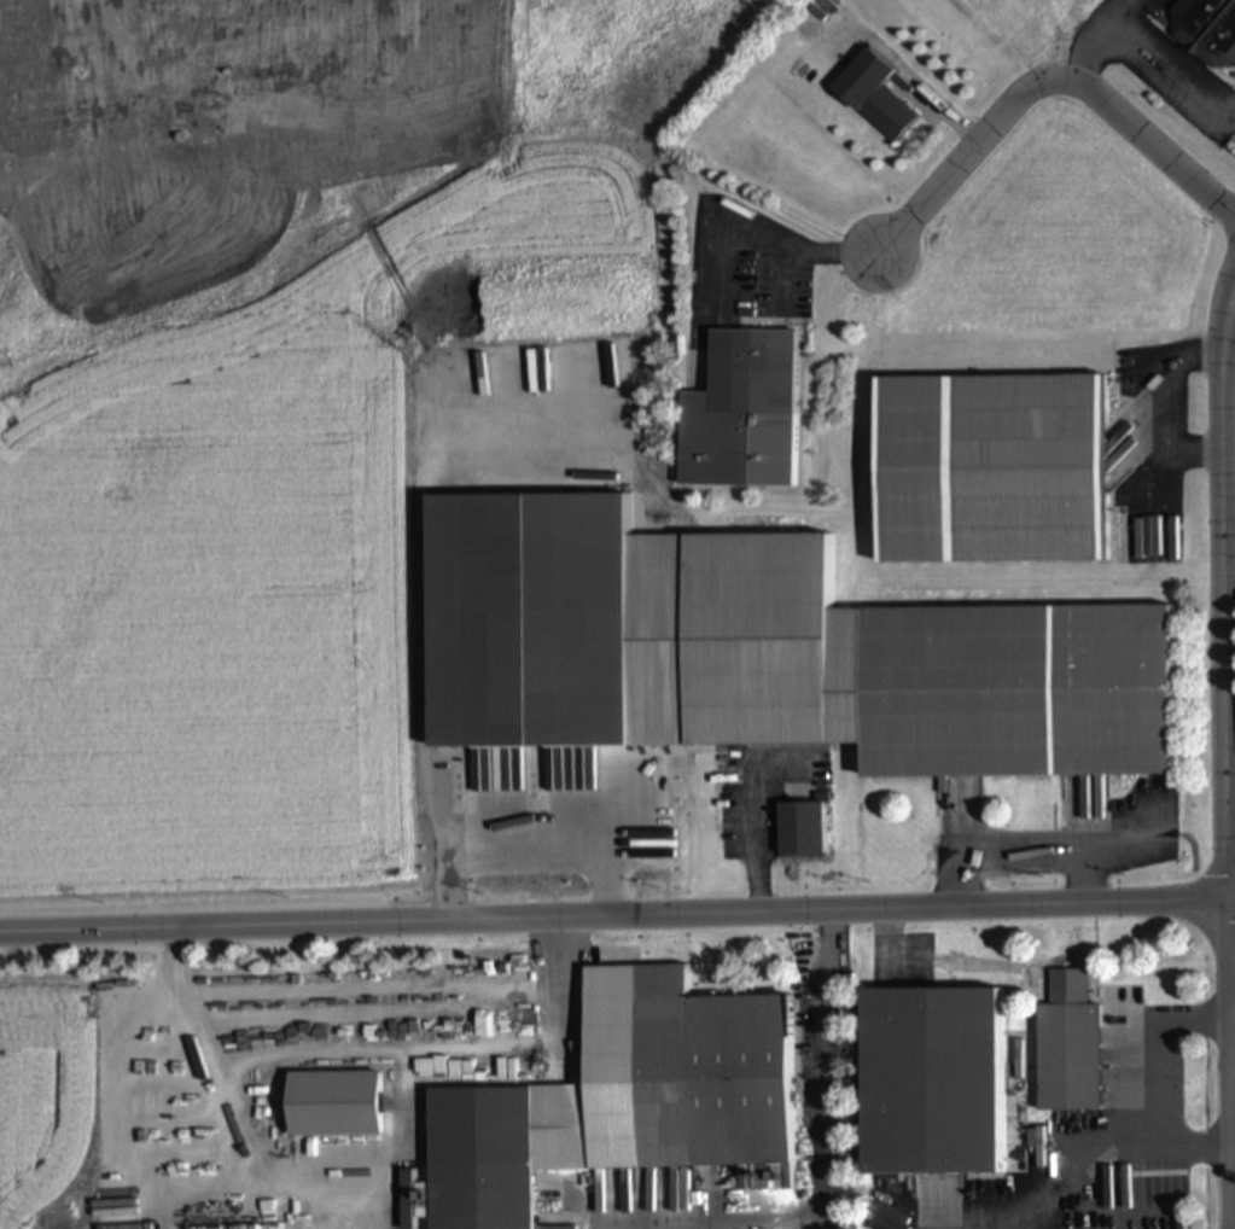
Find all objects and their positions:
building: (1206, 30)
road: (1105, 42)
road: (1049, 83)
building: (873, 94)
road: (796, 249)
building: (752, 373)
road: (1153, 401)
building: (991, 474)
road: (1230, 614)
building: (1016, 698)
building: (549, 728)
road: (441, 745)
road: (1231, 821)
building: (799, 831)
road: (753, 835)
road: (1026, 849)
road: (617, 910)
road: (1233, 1014)
building: (1067, 1053)
road: (1230, 1065)
building: (937, 1084)
building: (712, 1089)
road: (566, 1094)
road: (823, 1138)
building: (482, 1163)
building: (1141, 1187)
road: (780, 1224)

